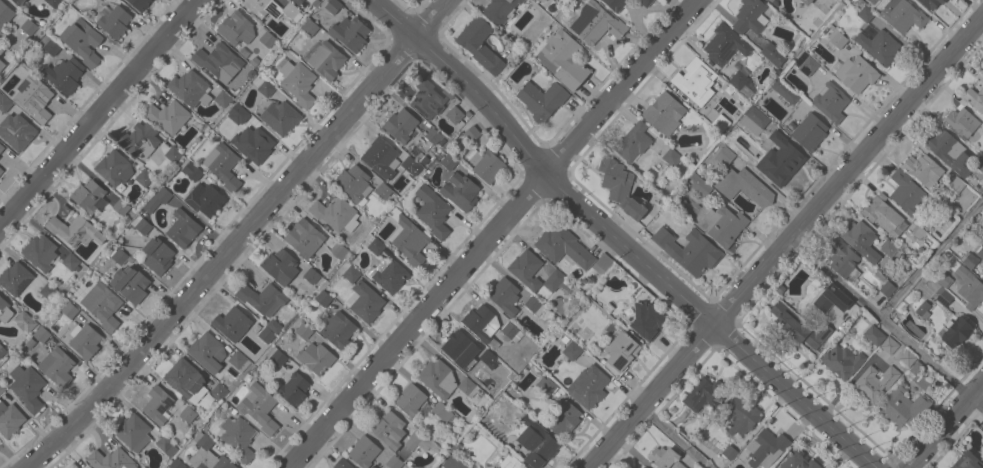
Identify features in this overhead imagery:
building: (101, 0)
building: (540, 0)
building: (542, 0)
building: (770, 0)
building: (296, 1)
building: (19, 2)
building: (645, 2)
building: (806, 2)
building: (53, 3)
building: (928, 3)
building: (139, 4)
building: (615, 4)
building: (333, 6)
building: (272, 9)
building: (500, 10)
building: (866, 14)
building: (4, 15)
building: (902, 15)
building: (750, 16)
road: (433, 19)
building: (115, 22)
building: (599, 24)
building: (28, 27)
building: (310, 27)
building: (236, 28)
building: (350, 33)
building: (836, 37)
building: (267, 39)
building: (82, 41)
building: (49, 45)
building: (480, 45)
building: (725, 45)
building: (879, 46)
building: (1, 50)
building: (773, 54)
building: (563, 59)
building: (327, 60)
building: (217, 61)
building: (806, 63)
building: (1, 64)
building: (982, 72)
building: (63, 74)
building: (856, 74)
building: (695, 80)
building: (298, 82)
building: (741, 83)
building: (190, 88)
building: (266, 88)
building: (785, 90)
building: (32, 98)
building: (222, 98)
building: (429, 98)
building: (974, 98)
building: (542, 100)
building: (4, 102)
building: (830, 102)
building: (239, 113)
building: (664, 113)
road: (99, 114)
building: (167, 116)
building: (280, 117)
building: (455, 117)
building: (754, 120)
building: (961, 122)
building: (721, 124)
building: (400, 125)
building: (18, 132)
building: (809, 132)
building: (471, 134)
building: (431, 137)
building: (140, 140)
building: (632, 142)
building: (253, 144)
building: (1, 148)
building: (949, 152)
building: (173, 154)
building: (725, 156)
building: (671, 157)
building: (380, 158)
building: (784, 158)
building: (449, 161)
building: (979, 163)
building: (485, 164)
building: (223, 165)
building: (411, 165)
building: (114, 168)
building: (191, 170)
building: (923, 170)
building: (1, 171)
building: (143, 177)
building: (354, 184)
building: (956, 184)
building: (700, 185)
building: (744, 186)
building: (619, 187)
building: (383, 191)
building: (460, 191)
building: (906, 192)
building: (89, 196)
building: (158, 199)
building: (204, 199)
building: (122, 207)
building: (432, 211)
building: (336, 214)
building: (883, 215)
building: (722, 224)
building: (141, 225)
building: (182, 228)
building: (75, 230)
road: (496, 234)
building: (304, 238)
building: (409, 239)
building: (861, 240)
road: (620, 241)
road: (786, 243)
building: (377, 246)
building: (563, 246)
building: (338, 250)
building: (689, 250)
building: (890, 250)
building: (40, 251)
building: (980, 252)
building: (119, 256)
building: (157, 256)
road: (225, 257)
road: (931, 257)
building: (843, 259)
building: (969, 260)
building: (70, 261)
building: (604, 262)
building: (280, 266)
building: (526, 269)
building: (982, 269)
building: (350, 273)
building: (388, 275)
building: (311, 276)
building: (15, 278)
building: (554, 280)
building: (944, 280)
building: (130, 284)
building: (885, 284)
building: (968, 287)
building: (48, 291)
building: (504, 296)
building: (943, 296)
building: (262, 298)
building: (323, 299)
building: (832, 299)
building: (366, 302)
building: (102, 305)
building: (534, 306)
building: (923, 309)
building: (4, 310)
building: (70, 310)
building: (22, 319)
building: (646, 320)
road: (886, 322)
building: (232, 324)
building: (482, 324)
building: (273, 326)
building: (799, 326)
building: (338, 330)
building: (303, 331)
building: (954, 331)
building: (511, 332)
building: (41, 334)
building: (266, 335)
building: (874, 335)
building: (84, 340)
building: (888, 345)
building: (459, 348)
building: (2, 351)
building: (572, 351)
building: (207, 352)
building: (620, 353)
building: (276, 356)
building: (316, 358)
building: (908, 358)
building: (488, 359)
building: (238, 361)
building: (842, 361)
building: (57, 367)
building: (920, 376)
building: (438, 378)
building: (185, 379)
building: (874, 382)
building: (546, 385)
building: (588, 386)
building: (27, 387)
building: (468, 387)
building: (2, 388)
building: (294, 389)
building: (218, 392)
building: (703, 394)
building: (410, 399)
building: (159, 406)
building: (259, 407)
building: (902, 407)
building: (442, 411)
building: (187, 414)
building: (740, 416)
building: (564, 418)
building: (10, 419)
road: (946, 426)
building: (388, 429)
building: (133, 432)
building: (238, 438)
building: (420, 439)
road: (674, 439)
building: (536, 442)
building: (166, 445)
building: (765, 449)
building: (364, 451)
building: (729, 452)
building: (208, 455)
building: (454, 458)
building: (665, 458)
building: (110, 459)
building: (966, 461)
building: (394, 462)
building: (510, 462)
building: (798, 462)
building: (177, 464)
building: (342, 464)
building: (524, 467)
building: (639, 467)
building: (643, 467)

